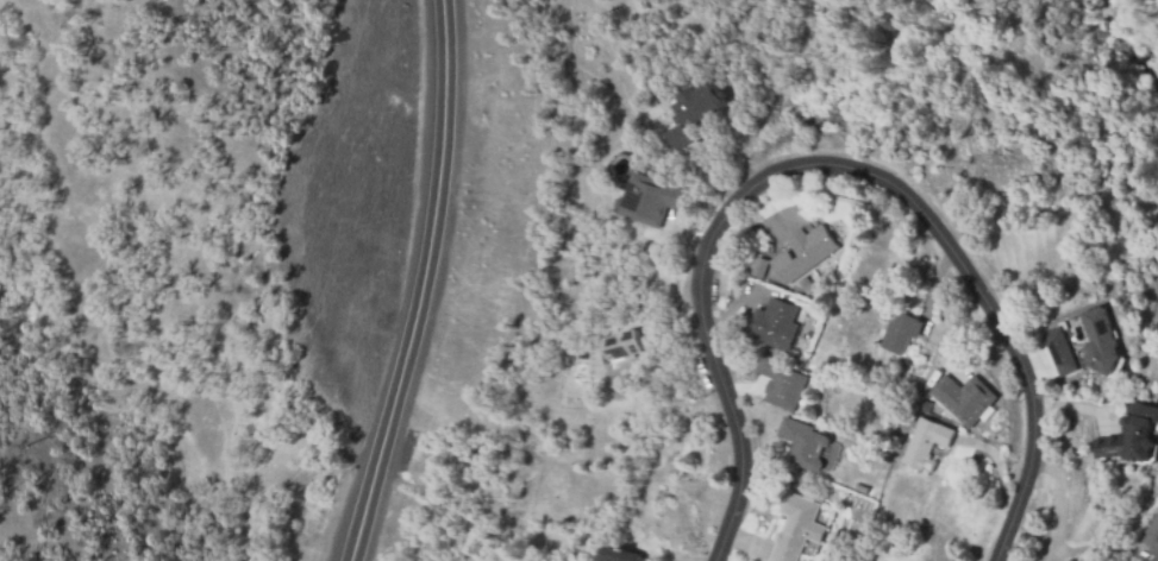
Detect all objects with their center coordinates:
building: (689, 115)
road: (828, 163)
building: (644, 200)
building: (801, 252)
building: (756, 266)
road: (421, 284)
building: (771, 324)
building: (902, 327)
building: (620, 346)
building: (1081, 349)
building: (781, 383)
building: (968, 397)
building: (1127, 435)
building: (802, 441)
building: (925, 441)
building: (794, 527)
building: (1151, 537)
building: (619, 555)

